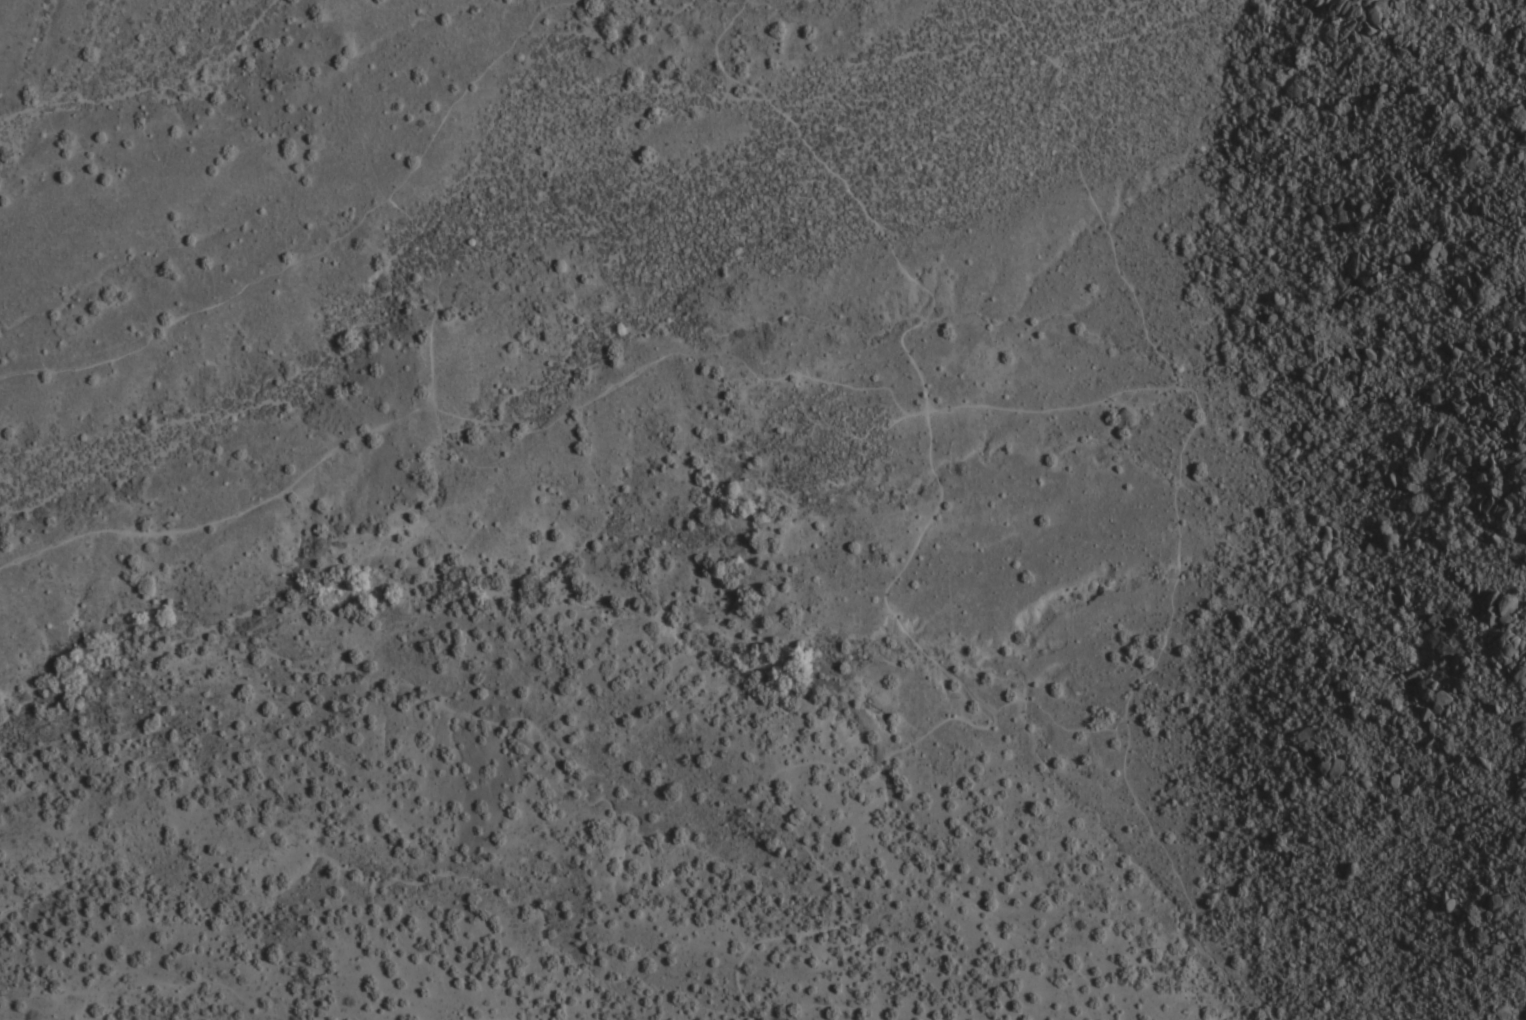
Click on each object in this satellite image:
road: (315, 248)
road: (436, 298)
road: (590, 397)
road: (1178, 508)
road: (904, 619)
road: (484, 1012)

